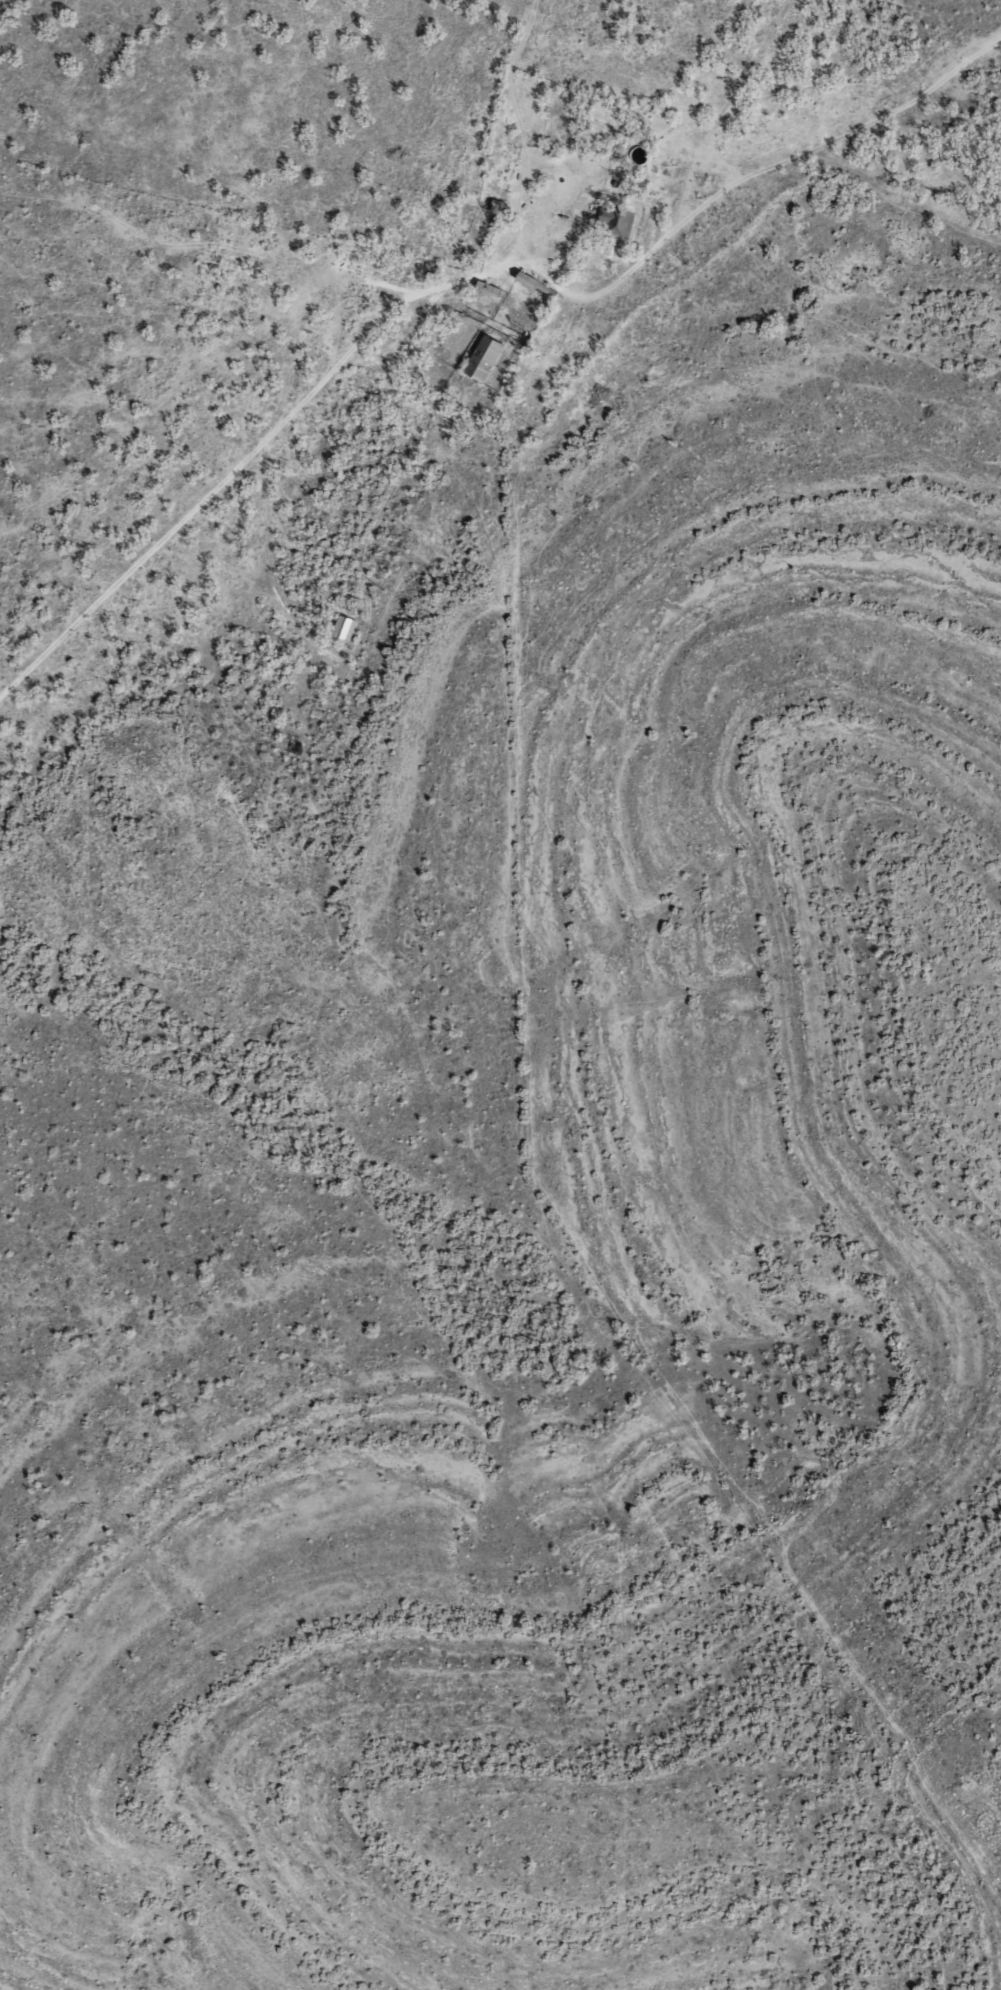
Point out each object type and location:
road: (883, 69)
road: (509, 126)
building: (615, 222)
road: (401, 331)
building: (482, 358)

